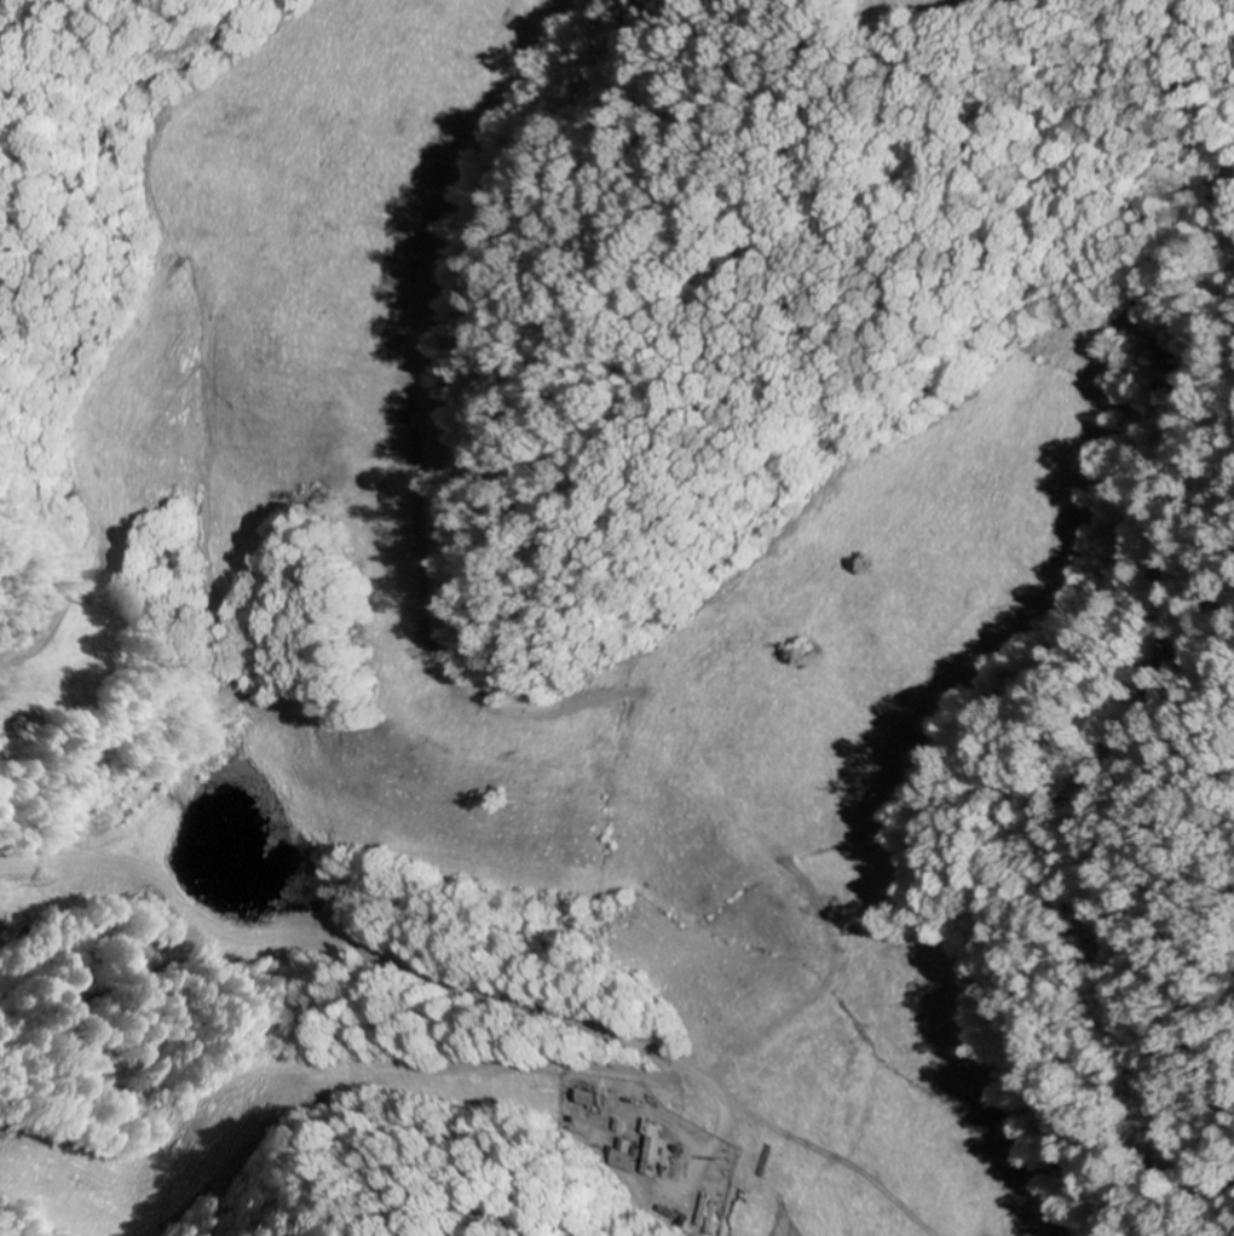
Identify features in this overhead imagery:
building: (592, 1098)
building: (652, 1148)

